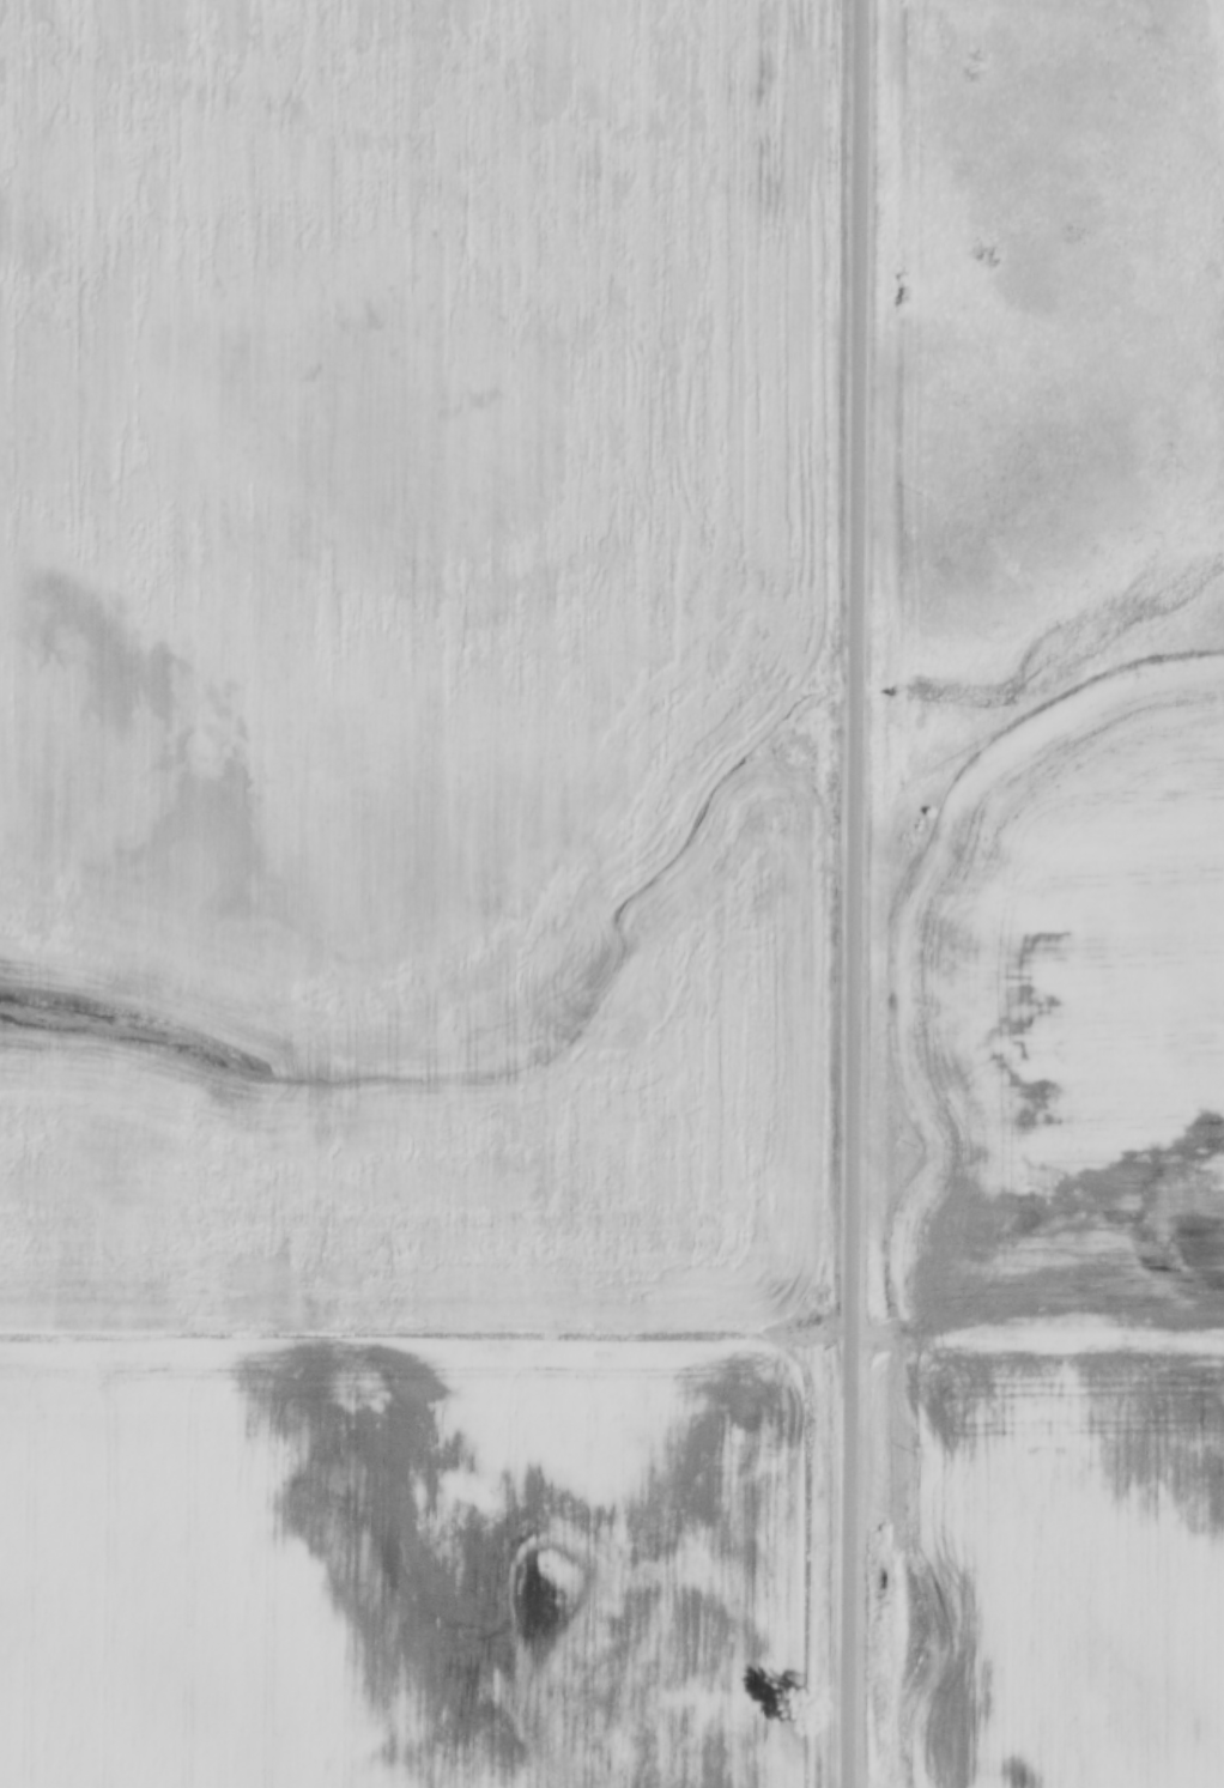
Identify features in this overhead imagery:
road: (852, 893)

